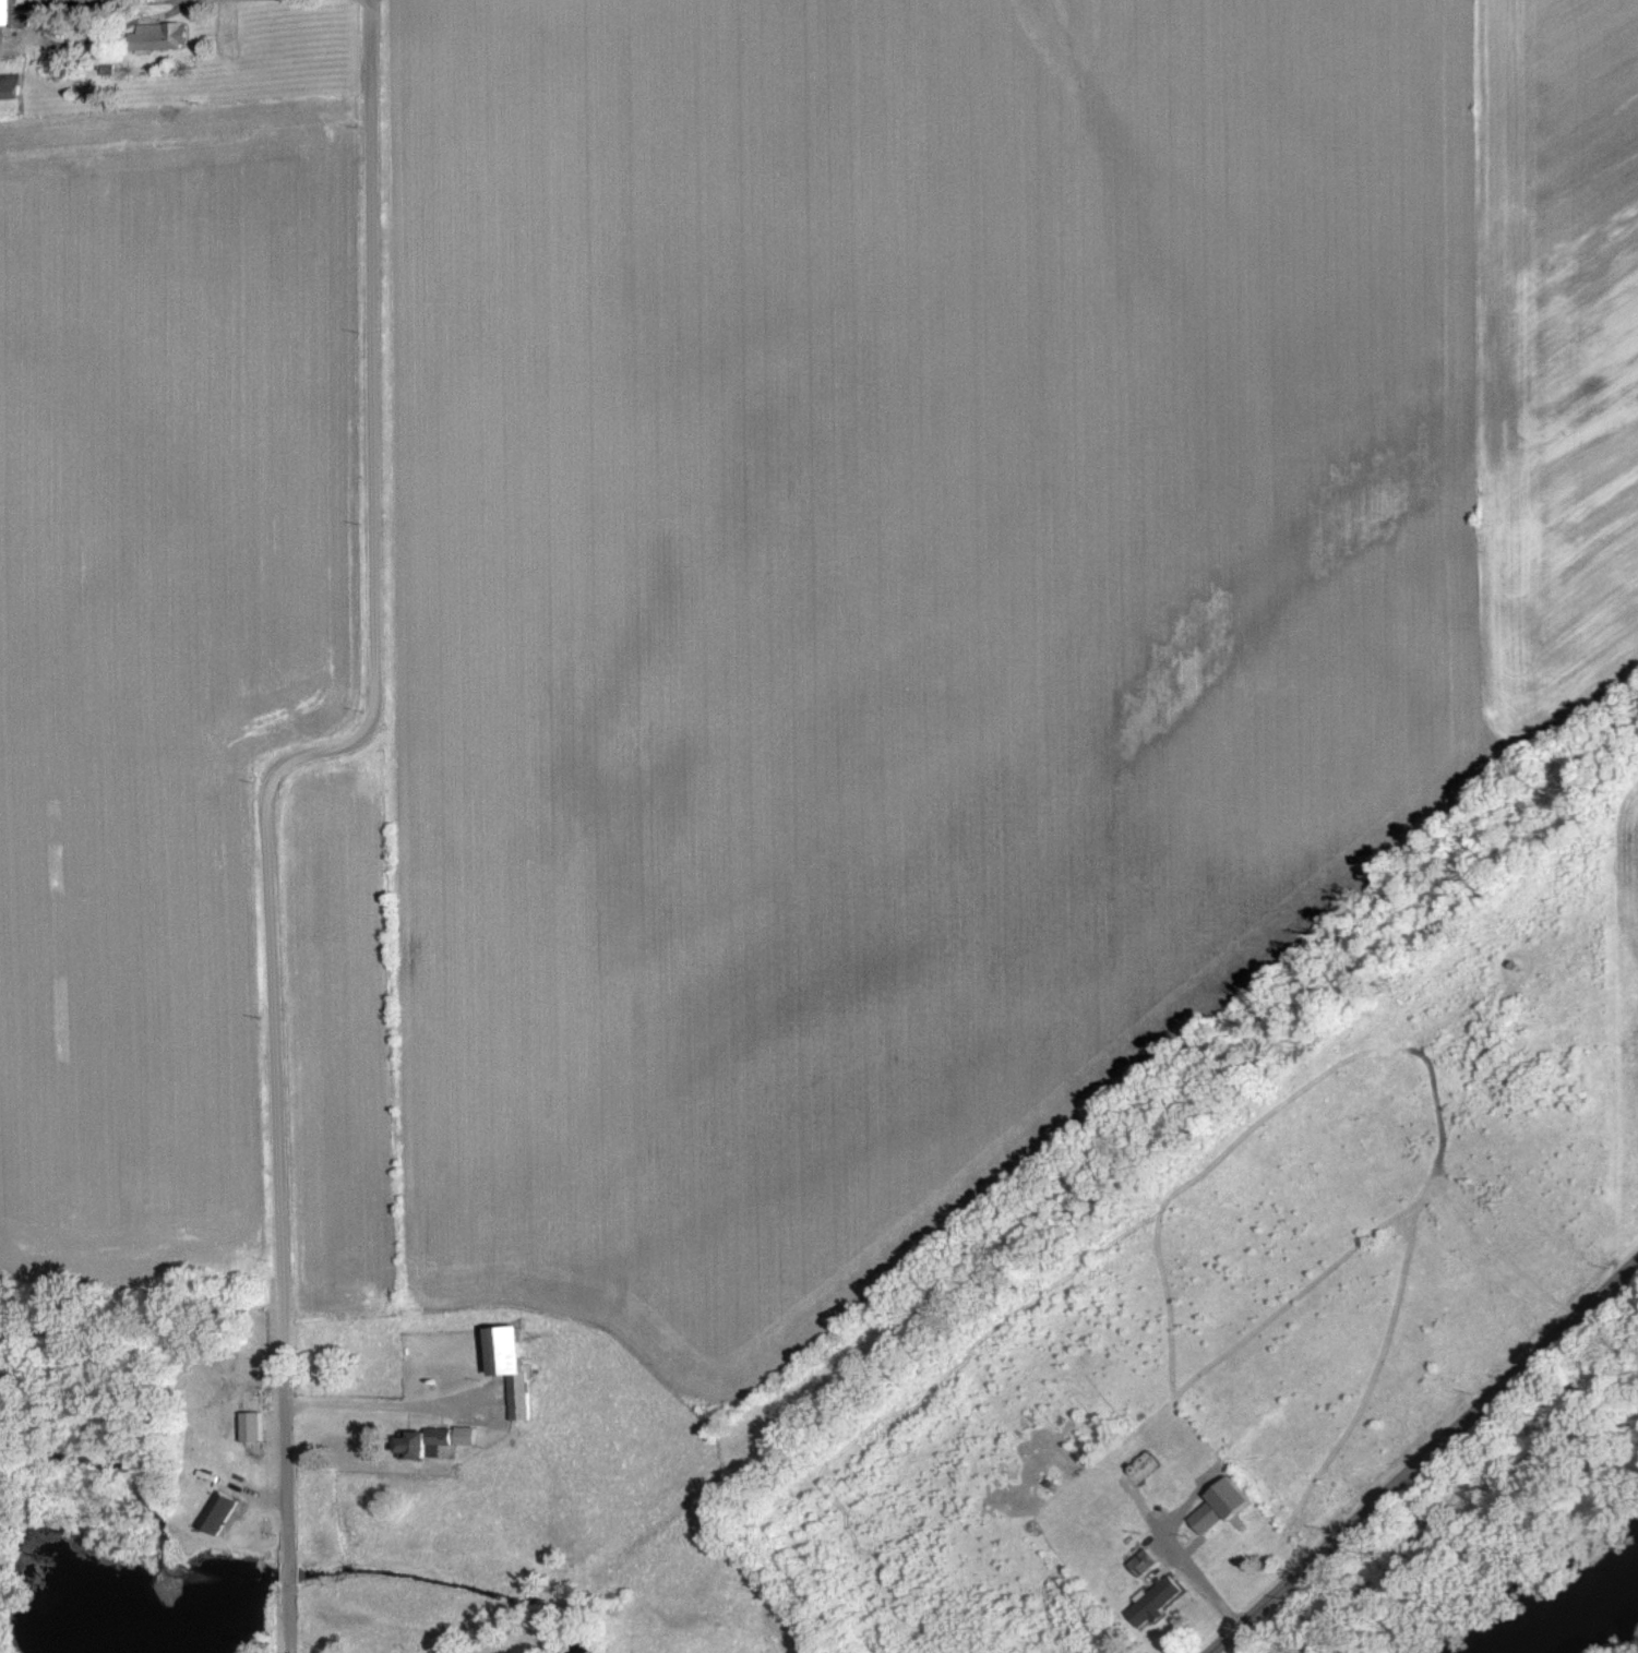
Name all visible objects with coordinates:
building: (9, 15)
building: (165, 35)
road: (265, 791)
building: (517, 1368)
building: (441, 1440)
road: (1424, 1459)
building: (1211, 1504)
building: (223, 1511)
building: (1148, 1601)
river: (1571, 1620)

